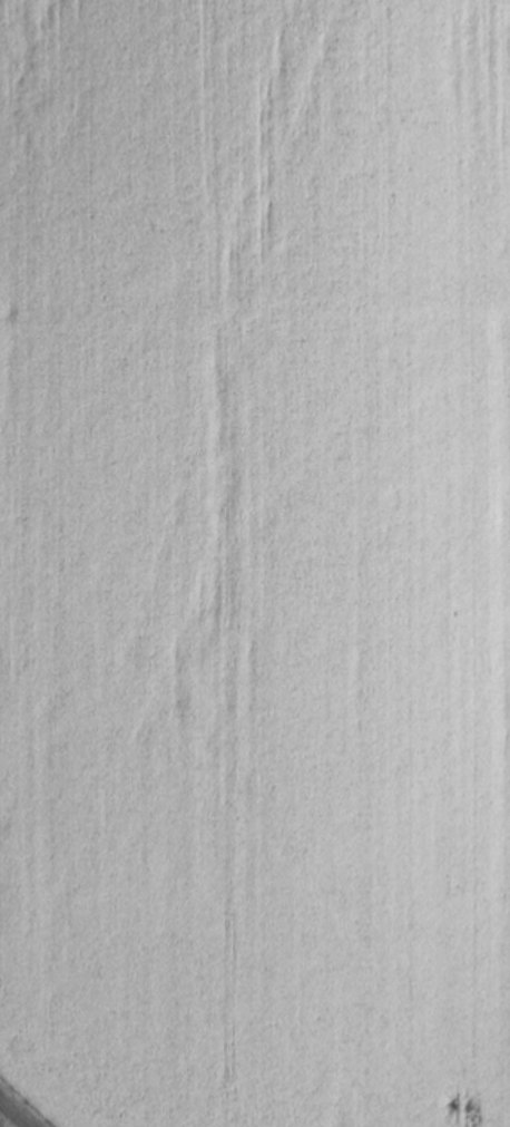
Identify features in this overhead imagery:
road: (2, 1124)

